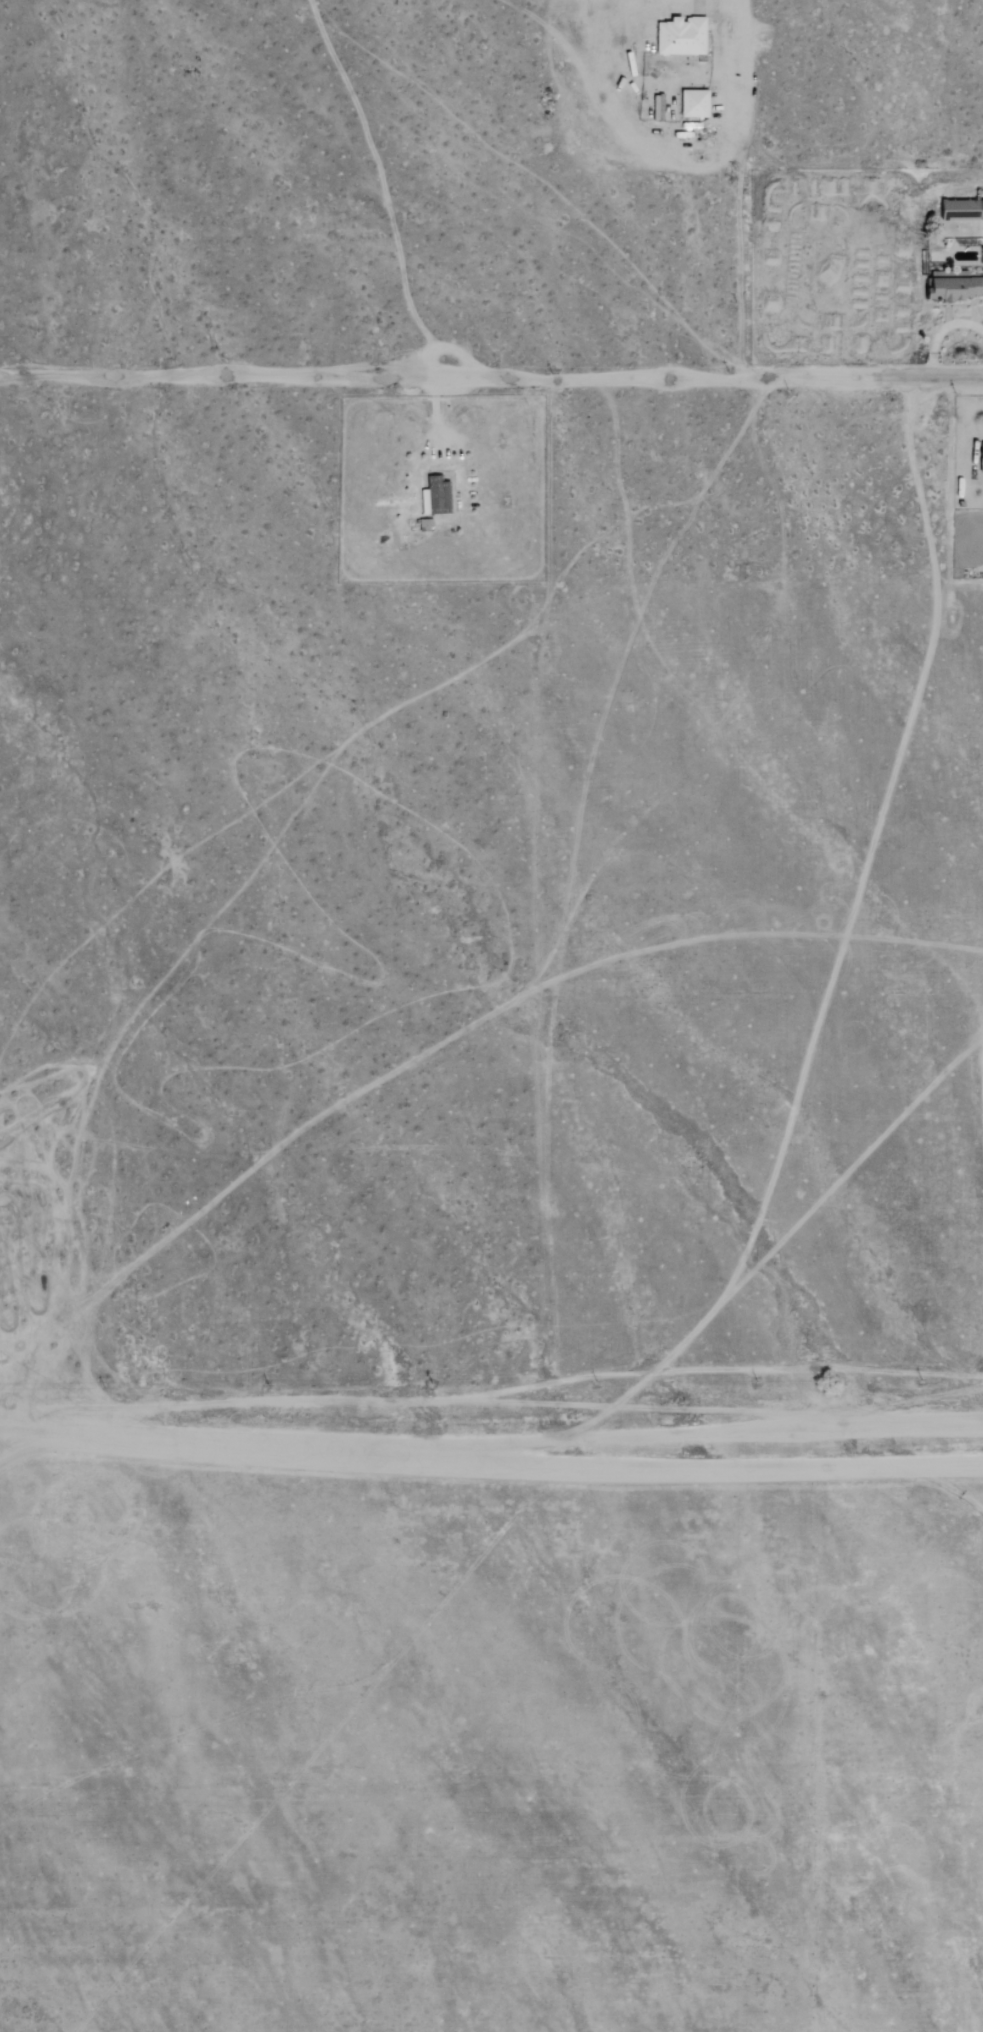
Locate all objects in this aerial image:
building: (683, 36)
road: (731, 69)
building: (695, 103)
building: (963, 210)
building: (955, 288)
road: (941, 328)
road: (491, 374)
road: (436, 419)
building: (438, 497)
road: (491, 1393)

